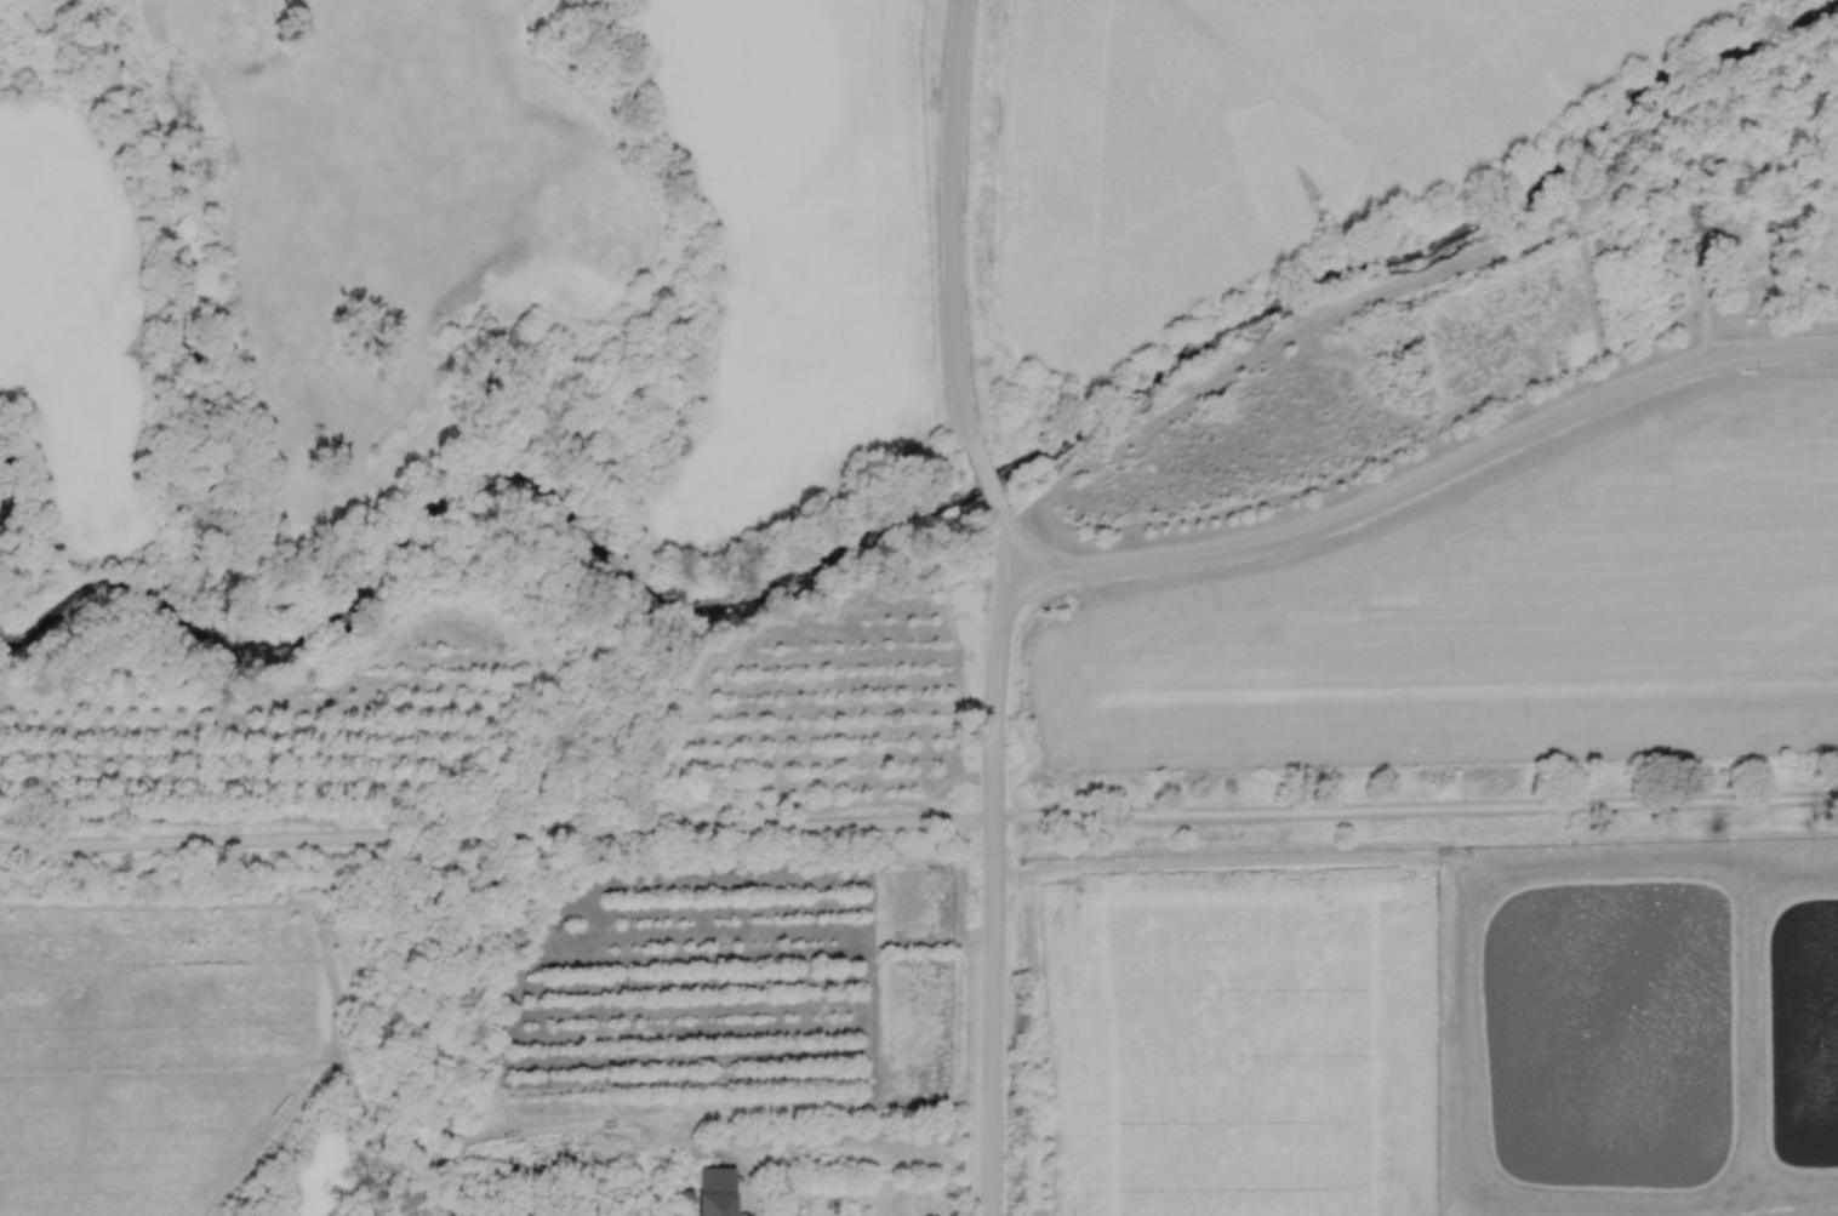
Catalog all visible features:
building: (1693, 213)
road: (954, 218)
building: (1747, 257)
road: (991, 474)
road: (1428, 478)
river: (941, 498)
crop: (1499, 615)
road: (918, 824)
road: (993, 863)
building: (713, 1192)

